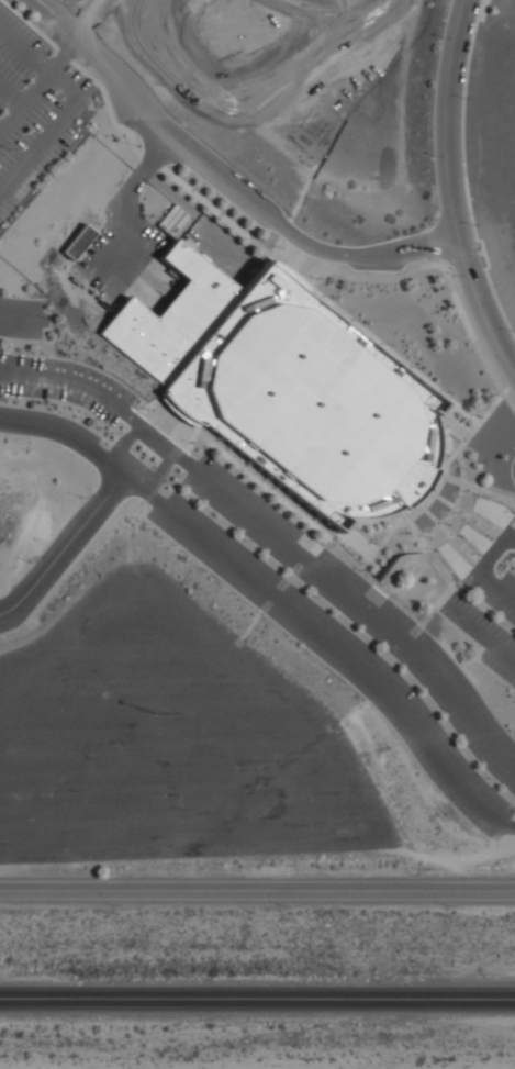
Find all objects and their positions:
parking lot: (124, 9)
road: (480, 9)
road: (97, 19)
road: (31, 24)
road: (64, 54)
road: (64, 54)
road: (38, 63)
road: (11, 92)
road: (24, 99)
road: (108, 105)
parking lot: (34, 109)
road: (462, 129)
road: (40, 141)
street lamp: (138, 145)
road: (150, 159)
road: (222, 179)
road: (448, 193)
road: (117, 207)
road: (214, 209)
street lamp: (155, 214)
building: (77, 242)
road: (480, 250)
road: (483, 252)
road: (461, 253)
road: (443, 263)
road: (451, 287)
road: (497, 303)
road: (24, 315)
road: (395, 354)
parking lot: (52, 365)
road: (66, 381)
building: (287, 390)
road: (467, 437)
road: (156, 439)
road: (456, 480)
road: (260, 483)
road: (497, 494)
road: (448, 502)
road: (434, 517)
road: (477, 522)
road: (491, 530)
road: (416, 531)
road: (503, 534)
road: (512, 536)
road: (65, 542)
road: (318, 544)
road: (461, 545)
road: (377, 548)
road: (344, 550)
road: (494, 553)
road: (472, 556)
road: (436, 560)
road: (293, 570)
road: (443, 570)
road: (449, 586)
road: (496, 586)
road: (276, 590)
road: (447, 597)
parking lot: (490, 604)
road: (361, 606)
road: (258, 613)
road: (479, 631)
parking lot: (349, 634)
parking lot: (96, 760)
road: (511, 825)
road: (257, 889)
road: (257, 996)

